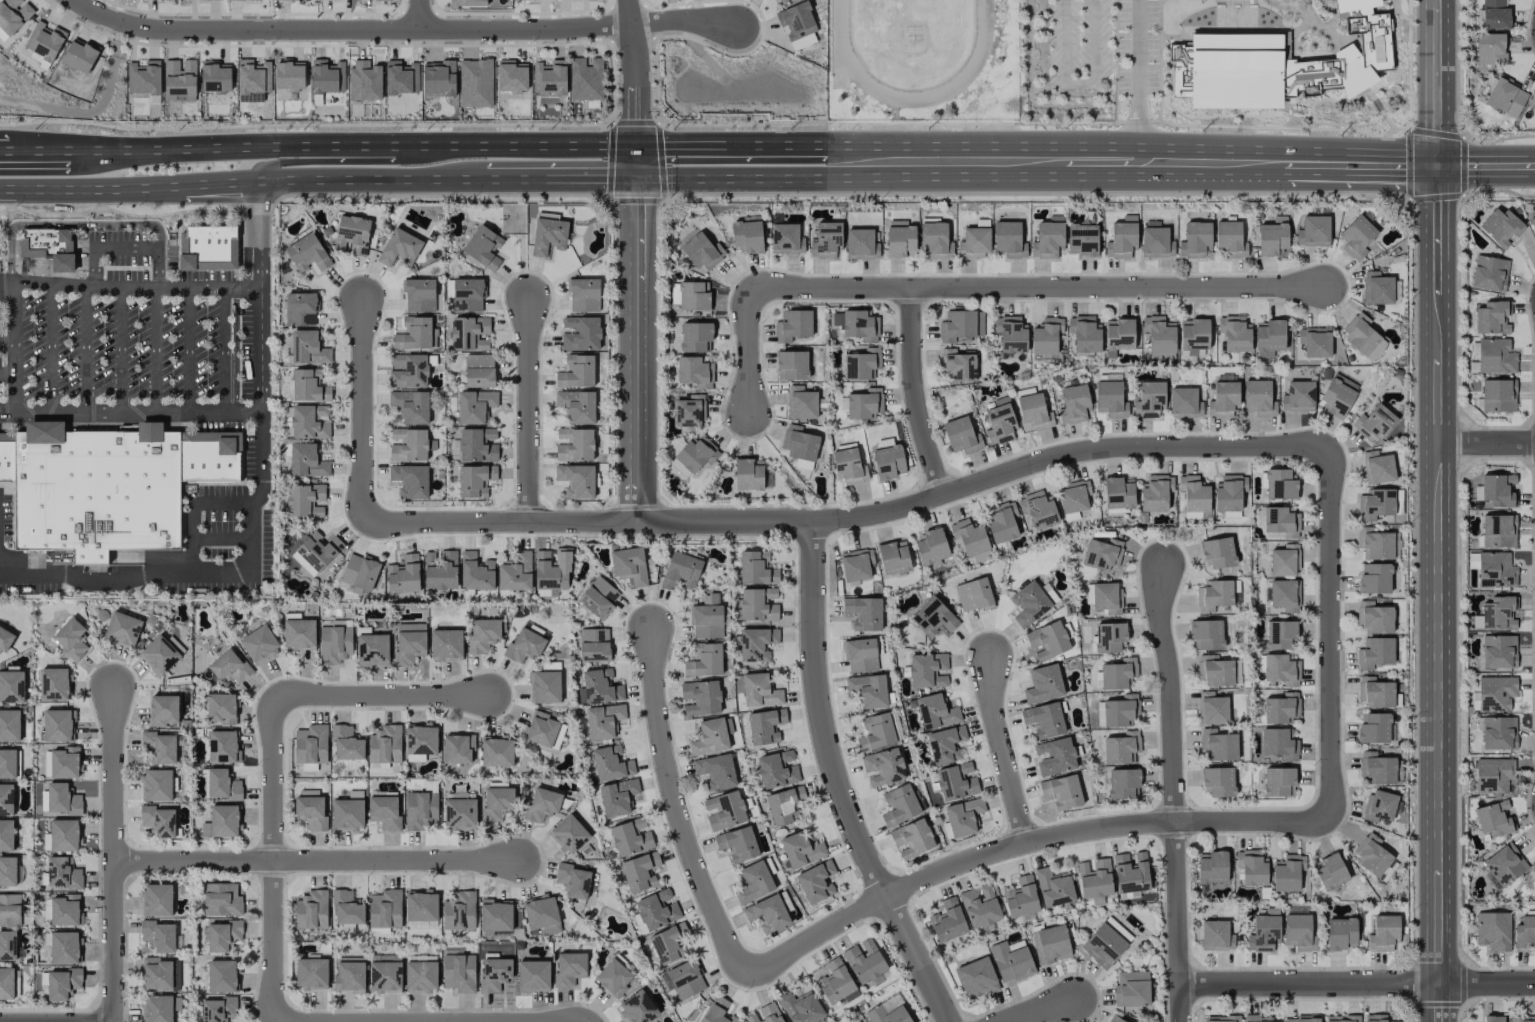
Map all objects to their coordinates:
building: (240, 0)
building: (782, 1)
building: (468, 2)
building: (13, 14)
road: (416, 14)
building: (1494, 14)
road: (678, 21)
building: (797, 24)
road: (348, 28)
building: (2, 35)
building: (44, 40)
building: (1490, 48)
building: (79, 56)
building: (1278, 63)
road: (1137, 73)
building: (289, 75)
building: (325, 75)
building: (215, 76)
building: (511, 76)
building: (144, 77)
building: (253, 77)
building: (400, 77)
building: (549, 77)
building: (438, 79)
building: (586, 79)
building: (179, 80)
building: (364, 80)
building: (475, 83)
road: (1079, 83)
road: (1436, 85)
road: (628, 88)
building: (1506, 97)
building: (1533, 112)
road: (521, 146)
road: (728, 146)
road: (1132, 146)
road: (244, 148)
road: (38, 151)
road: (330, 156)
road: (1076, 165)
traffic signals: (1437, 170)
road: (1486, 170)
road: (558, 178)
road: (372, 180)
road: (847, 180)
road: (1329, 180)
road: (1143, 181)
road: (221, 183)
road: (92, 187)
building: (1532, 223)
building: (1500, 226)
building: (1313, 231)
building: (352, 235)
building: (747, 235)
building: (548, 236)
building: (1273, 236)
building: (1357, 237)
building: (786, 238)
building: (900, 238)
building: (1122, 238)
building: (1231, 238)
building: (1009, 239)
building: (1082, 239)
building: (826, 240)
building: (935, 240)
building: (1047, 240)
building: (1195, 240)
building: (974, 242)
building: (1157, 242)
building: (861, 244)
building: (47, 246)
road: (140, 247)
building: (208, 247)
building: (399, 247)
building: (483, 247)
building: (702, 251)
building: (307, 252)
building: (1489, 273)
building: (1377, 288)
road: (972, 289)
building: (469, 292)
building: (419, 295)
building: (584, 295)
building: (693, 296)
building: (459, 304)
road: (1437, 307)
building: (300, 309)
road: (17, 311)
road: (157, 318)
building: (1491, 318)
building: (856, 324)
building: (793, 325)
building: (961, 325)
building: (413, 333)
building: (469, 333)
building: (581, 333)
building: (1234, 333)
building: (1360, 333)
building: (1084, 334)
building: (1012, 335)
building: (1118, 335)
building: (695, 336)
building: (1270, 336)
building: (1159, 337)
building: (1193, 337)
building: (1046, 339)
building: (1315, 342)
road: (50, 347)
road: (85, 347)
road: (119, 348)
building: (307, 348)
road: (188, 349)
road: (634, 351)
building: (1495, 356)
building: (861, 364)
building: (792, 365)
building: (956, 365)
road: (223, 366)
building: (479, 370)
building: (408, 371)
building: (576, 371)
building: (694, 372)
road: (8, 373)
road: (17, 377)
building: (309, 386)
road: (915, 394)
building: (1337, 395)
building: (1498, 395)
building: (1298, 396)
building: (1258, 398)
building: (1110, 399)
building: (1149, 399)
building: (1223, 399)
building: (801, 402)
building: (1184, 402)
building: (864, 403)
building: (1073, 404)
building: (474, 405)
building: (577, 405)
building: (410, 406)
building: (690, 411)
road: (112, 412)
road: (260, 413)
building: (1033, 413)
road: (362, 414)
road: (528, 415)
building: (309, 422)
building: (1000, 422)
building: (1374, 422)
building: (961, 435)
building: (799, 443)
building: (477, 444)
building: (575, 444)
building: (408, 445)
road: (1486, 445)
building: (696, 453)
building: (888, 458)
building: (306, 461)
building: (849, 466)
building: (1377, 467)
building: (748, 474)
building: (410, 480)
building: (474, 480)
building: (576, 480)
building: (1279, 484)
building: (109, 486)
building: (1495, 490)
building: (1118, 492)
building: (1155, 492)
building: (1193, 493)
building: (1228, 493)
building: (1073, 498)
building: (305, 500)
building: (1375, 504)
building: (1037, 510)
road: (194, 515)
road: (850, 519)
building: (1002, 521)
building: (1280, 523)
building: (1498, 530)
road: (222, 538)
building: (968, 538)
building: (1374, 543)
building: (931, 545)
building: (316, 552)
building: (1217, 552)
building: (1102, 553)
building: (893, 557)
building: (1284, 560)
building: (629, 565)
building: (856, 565)
building: (756, 568)
building: (552, 569)
building: (680, 569)
building: (1495, 569)
building: (440, 570)
building: (476, 571)
building: (359, 573)
building: (515, 573)
building: (403, 575)
building: (1375, 578)
road: (88, 580)
building: (973, 594)
building: (1214, 594)
building: (1284, 594)
building: (598, 597)
building: (1106, 597)
building: (1029, 603)
building: (758, 604)
building: (863, 612)
building: (1498, 613)
building: (933, 617)
building: (1374, 617)
building: (706, 621)
building: (122, 628)
building: (483, 634)
building: (1206, 634)
building: (1279, 634)
road: (1329, 635)
building: (1110, 637)
building: (71, 638)
building: (5, 640)
building: (1048, 641)
building: (525, 642)
building: (258, 643)
building: (409, 643)
building: (756, 643)
building: (334, 644)
building: (446, 644)
building: (594, 644)
building: (372, 649)
building: (1498, 651)
building: (1375, 652)
building: (860, 654)
building: (158, 655)
building: (704, 660)
building: (229, 666)
building: (1281, 669)
building: (927, 670)
building: (1214, 671)
building: (1118, 673)
building: (54, 684)
building: (1043, 684)
building: (11, 686)
building: (544, 686)
building: (600, 686)
building: (759, 690)
building: (868, 690)
building: (1375, 692)
building: (1495, 693)
road: (296, 696)
building: (701, 697)
building: (221, 708)
building: (1212, 708)
building: (1281, 708)
building: (163, 710)
building: (1120, 710)
building: (935, 712)
building: (1044, 719)
building: (603, 720)
building: (9, 725)
building: (57, 725)
building: (765, 726)
building: (1374, 727)
building: (540, 729)
building: (876, 732)
road: (1438, 733)
building: (1498, 733)
building: (709, 737)
building: (420, 742)
building: (347, 743)
building: (311, 744)
building: (945, 744)
building: (1218, 745)
building: (1278, 745)
building: (222, 746)
building: (384, 746)
building: (159, 747)
building: (1120, 747)
building: (457, 748)
building: (496, 751)
road: (1002, 753)
building: (1055, 756)
building: (62, 762)
building: (7, 763)
building: (610, 763)
building: (883, 767)
building: (1377, 768)
building: (777, 769)
building: (715, 771)
building: (1493, 775)
building: (1218, 781)
building: (1278, 781)
building: (956, 782)
building: (1122, 782)
road: (836, 783)
building: (157, 785)
building: (222, 785)
building: (1062, 791)
road: (1173, 795)
building: (617, 797)
building: (6, 799)
building: (62, 799)
building: (497, 803)
building: (783, 804)
building: (541, 805)
building: (899, 805)
building: (1379, 806)
building: (420, 809)
road: (675, 809)
building: (724, 810)
building: (348, 811)
building: (311, 812)
building: (384, 812)
building: (460, 813)
building: (963, 816)
building: (1492, 818)
building: (158, 821)
building: (221, 821)
building: (568, 834)
building: (6, 835)
building: (64, 835)
building: (631, 837)
building: (912, 838)
building: (737, 843)
road: (1023, 845)
building: (801, 849)
road: (112, 854)
building: (1371, 855)
road: (313, 861)
building: (1503, 866)
building: (1212, 867)
building: (1252, 868)
building: (640, 871)
building: (1131, 871)
building: (1330, 871)
building: (7, 872)
building: (1287, 872)
building: (63, 873)
building: (1095, 878)
building: (573, 880)
building: (816, 881)
building: (753, 882)
building: (1053, 887)
building: (1021, 897)
building: (157, 900)
building: (222, 900)
building: (980, 905)
building: (421, 906)
building: (9, 909)
building: (385, 909)
building: (657, 909)
building: (64, 910)
building: (311, 910)
building: (346, 910)
building: (459, 911)
building: (767, 913)
building: (541, 914)
building: (495, 915)
building: (948, 921)
building: (1493, 930)
building: (1298, 932)
building: (1524, 932)
building: (1264, 933)
building: (1341, 933)
building: (1383, 933)
building: (223, 934)
building: (159, 935)
building: (1216, 935)
road: (272, 941)
building: (1106, 942)
building: (669, 943)
building: (1050, 944)
building: (7, 946)
building: (64, 947)
building: (1011, 960)
building: (864, 961)
building: (569, 968)
building: (459, 972)
building: (157, 973)
building: (311, 973)
building: (494, 973)
building: (349, 975)
building: (533, 975)
building: (221, 976)
building: (385, 976)
building: (421, 976)
building: (613, 977)
building: (976, 977)
building: (685, 979)
building: (835, 981)
building: (6, 983)
building: (62, 983)
road: (1310, 985)
road: (1486, 985)
building: (1131, 989)
building: (801, 1007)
building: (157, 1008)
building: (638, 1008)
building: (218, 1009)
road: (1040, 1010)
building: (717, 1011)
building: (888, 1011)
building: (766, 1014)
building: (1220, 1018)
building: (1257, 1018)
building: (1342, 1018)
building: (1375, 1018)
building: (1492, 1018)
building: (1115, 1019)
building: (1301, 1020)
building: (1522, 1020)
road: (508, 1021)

